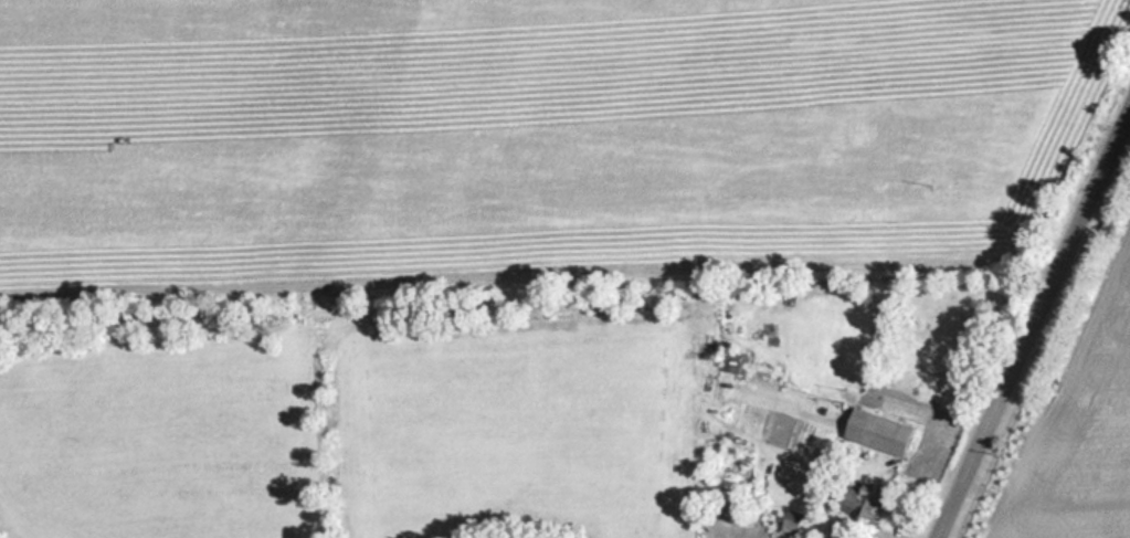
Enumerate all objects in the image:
road: (1028, 310)
building: (885, 432)
building: (1065, 441)
building: (796, 523)

